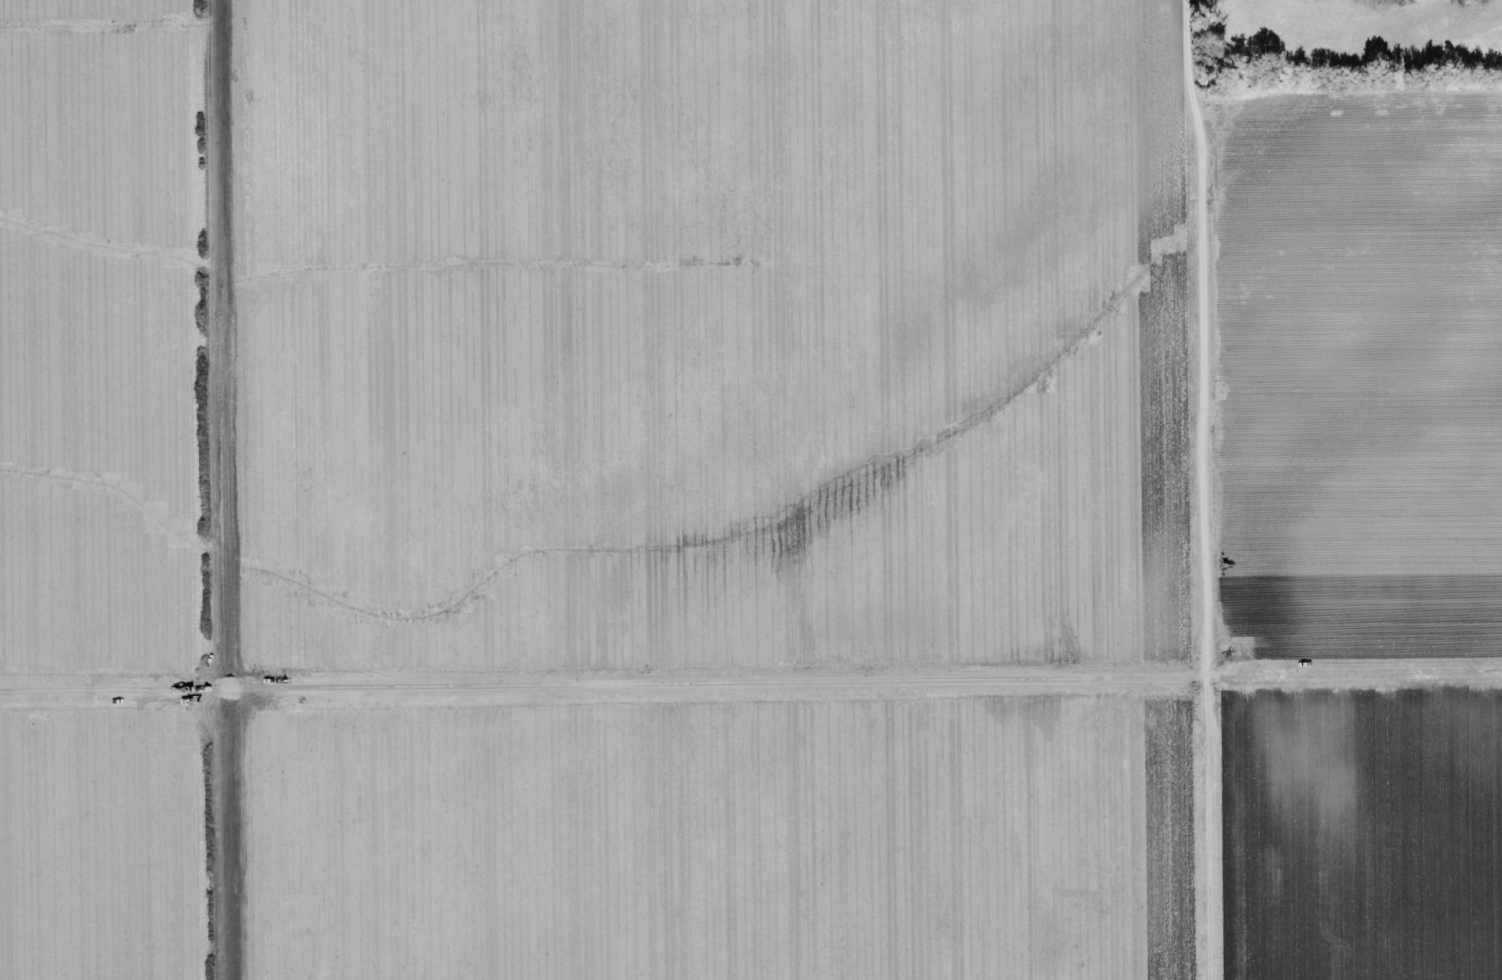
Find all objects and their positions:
road: (1203, 489)
road: (751, 681)

